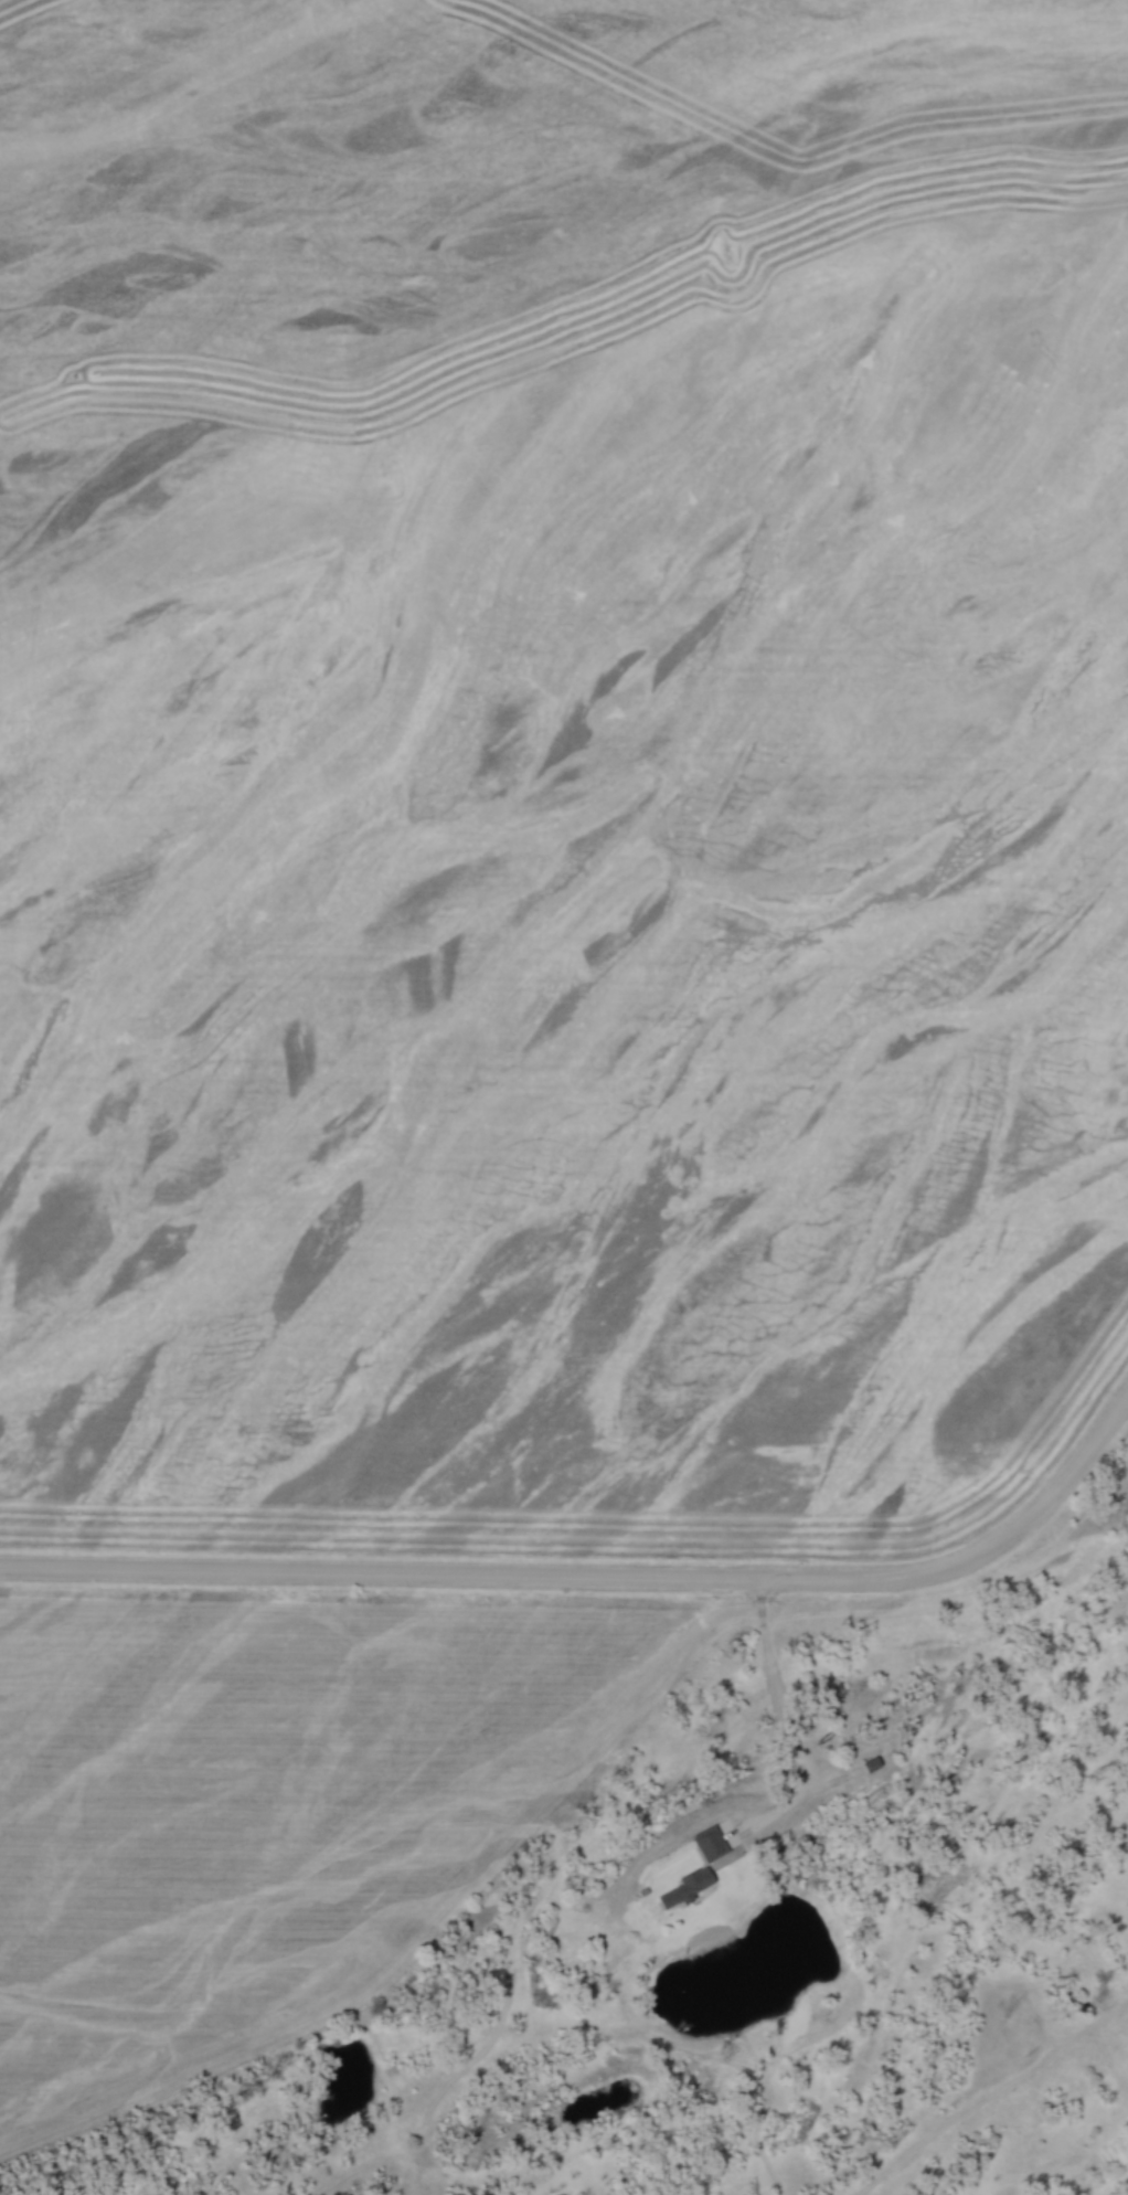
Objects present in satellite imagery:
road: (598, 1578)
building: (691, 1889)

